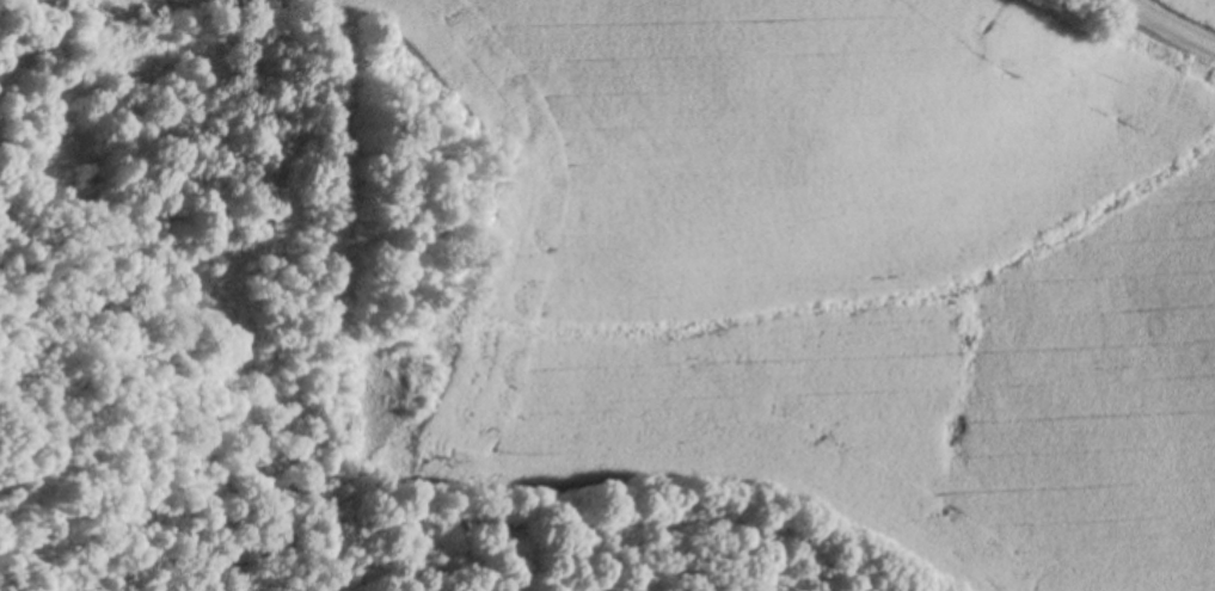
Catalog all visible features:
road: (1176, 21)

